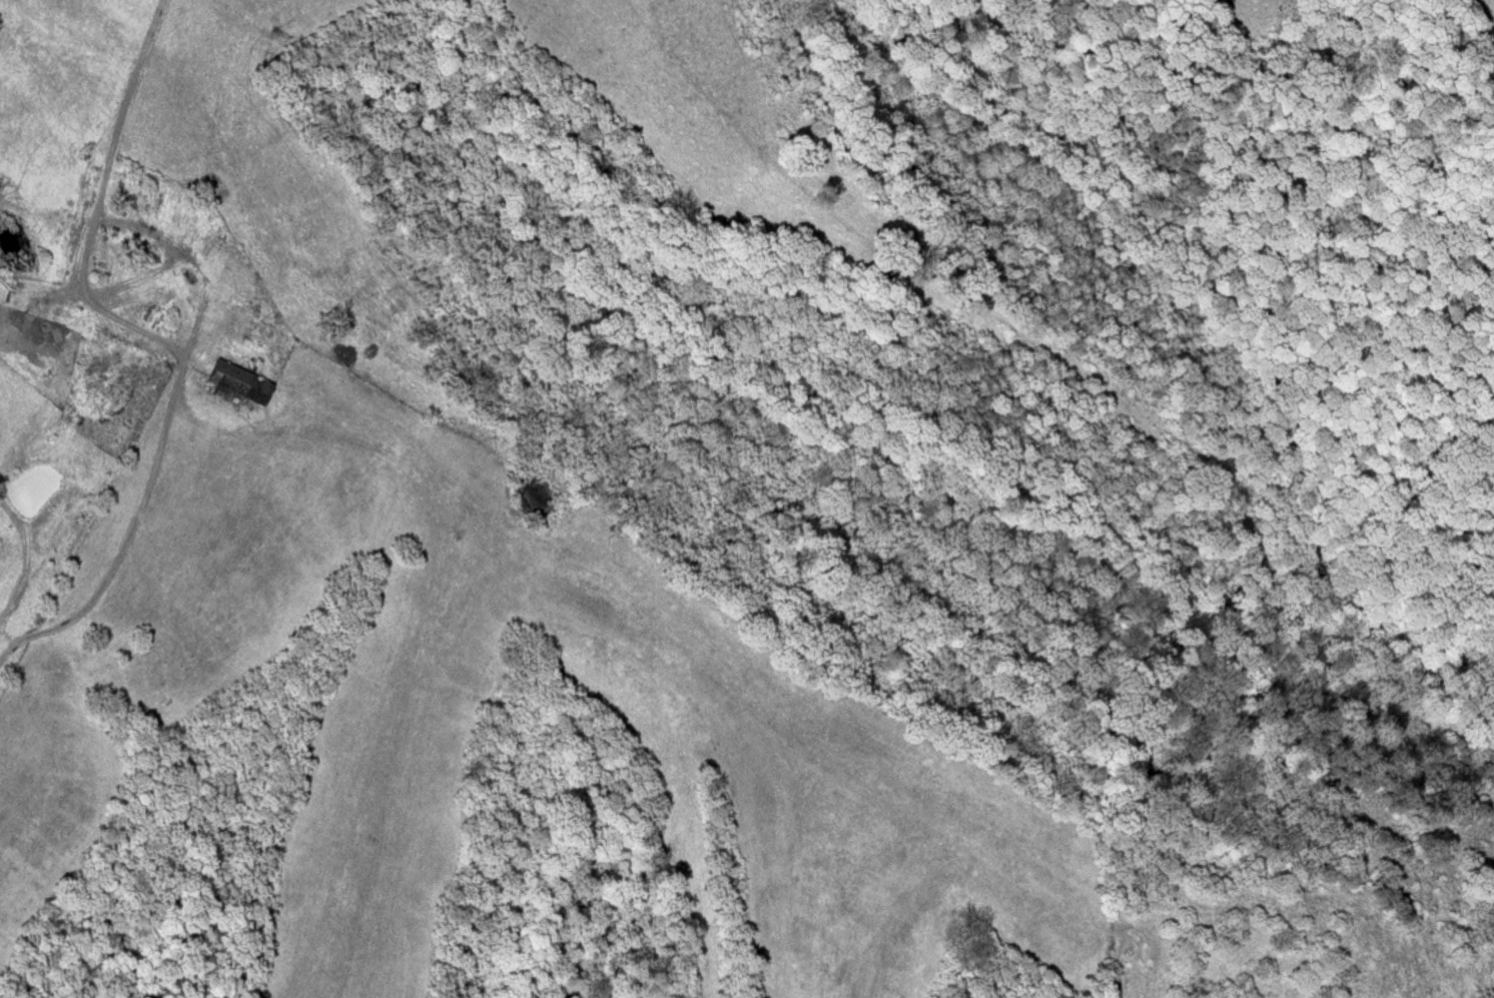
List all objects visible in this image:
road: (118, 144)
building: (0, 269)
building: (245, 386)

